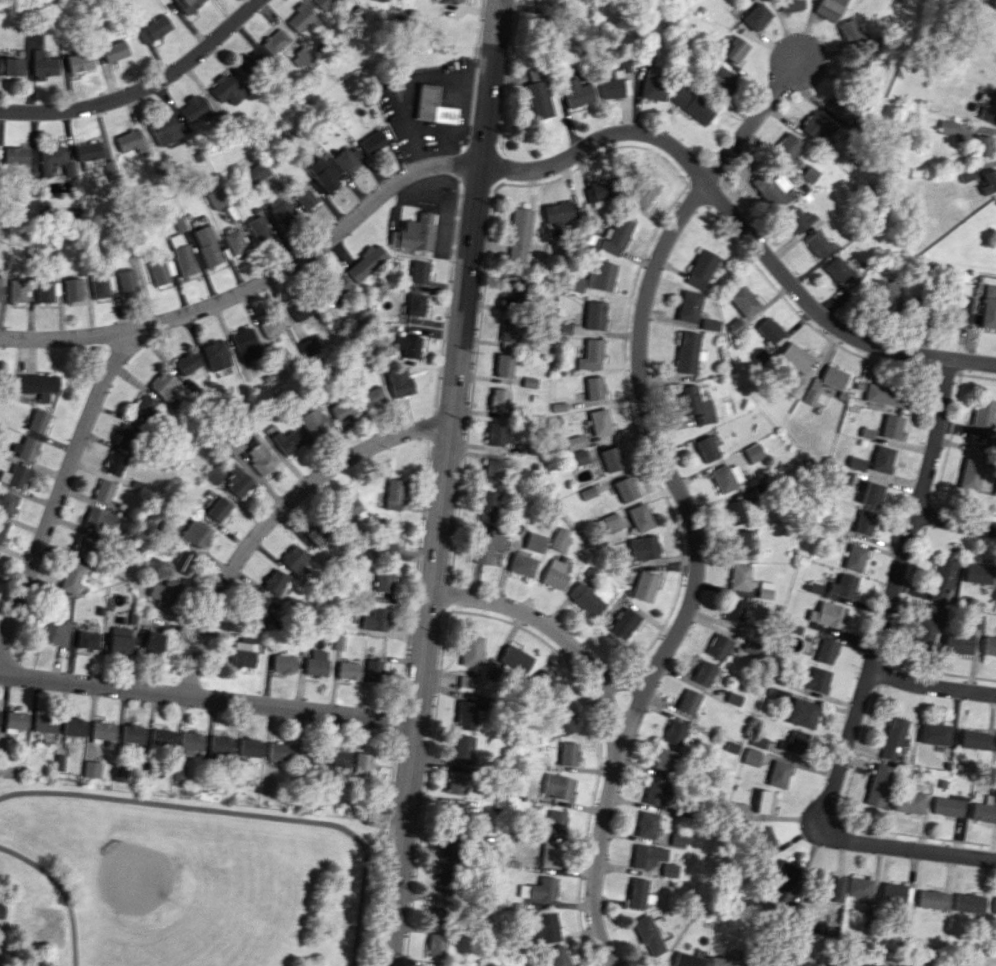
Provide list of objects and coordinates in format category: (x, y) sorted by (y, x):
building: (450, 0)
building: (322, 3)
building: (544, 3)
building: (187, 5)
building: (788, 5)
building: (827, 8)
building: (358, 13)
building: (754, 16)
building: (300, 18)
building: (153, 29)
building: (848, 31)
building: (274, 41)
building: (732, 48)
building: (114, 50)
building: (645, 56)
building: (304, 59)
building: (79, 62)
building: (248, 63)
building: (44, 64)
building: (10, 66)
building: (864, 68)
building: (721, 81)
road: (409, 83)
building: (612, 84)
building: (652, 86)
road: (142, 88)
building: (227, 89)
building: (576, 93)
building: (537, 94)
building: (691, 105)
building: (431, 106)
building: (836, 107)
building: (194, 108)
building: (987, 108)
building: (816, 126)
building: (946, 127)
building: (164, 130)
building: (130, 141)
building: (371, 142)
building: (787, 146)
building: (981, 147)
building: (88, 151)
building: (15, 155)
building: (50, 158)
building: (346, 159)
building: (68, 168)
road: (522, 169)
building: (256, 172)
building: (965, 173)
building: (321, 174)
building: (808, 174)
building: (28, 176)
building: (988, 181)
building: (600, 189)
building: (643, 191)
building: (775, 192)
building: (216, 197)
building: (304, 197)
building: (280, 211)
building: (557, 212)
building: (795, 219)
building: (520, 221)
building: (258, 228)
building: (414, 233)
building: (616, 236)
building: (235, 241)
building: (816, 244)
building: (207, 245)
building: (517, 248)
building: (181, 254)
building: (365, 263)
building: (701, 268)
building: (161, 271)
building: (419, 272)
building: (838, 272)
building: (595, 278)
building: (126, 281)
building: (0, 282)
building: (101, 286)
building: (336, 286)
building: (71, 289)
building: (16, 291)
building: (45, 291)
building: (512, 293)
building: (881, 294)
building: (743, 300)
building: (415, 304)
building: (689, 306)
building: (913, 307)
building: (988, 307)
building: (961, 308)
building: (302, 310)
building: (594, 315)
building: (710, 324)
building: (271, 326)
building: (563, 326)
building: (735, 326)
building: (769, 329)
building: (508, 330)
building: (246, 344)
building: (688, 352)
building: (216, 355)
building: (591, 355)
building: (794, 357)
building: (186, 362)
building: (503, 365)
road: (640, 381)
building: (398, 382)
building: (529, 382)
building: (35, 385)
building: (162, 386)
building: (835, 386)
building: (595, 388)
building: (883, 395)
building: (371, 397)
building: (498, 400)
building: (694, 404)
building: (143, 407)
building: (341, 407)
building: (983, 413)
building: (311, 420)
building: (38, 421)
building: (600, 421)
building: (890, 426)
building: (865, 432)
building: (495, 433)
building: (126, 435)
building: (285, 441)
building: (574, 442)
building: (233, 445)
building: (25, 448)
building: (706, 448)
building: (752, 452)
building: (257, 454)
building: (578, 457)
building: (612, 458)
building: (880, 458)
building: (115, 462)
building: (854, 462)
building: (971, 467)
building: (492, 470)
building: (214, 475)
building: (14, 476)
building: (725, 476)
building: (841, 476)
building: (236, 479)
road: (443, 482)
road: (61, 487)
building: (626, 489)
building: (105, 490)
building: (393, 494)
building: (869, 494)
building: (8, 503)
building: (487, 506)
building: (217, 508)
building: (347, 508)
building: (732, 512)
road: (272, 513)
building: (640, 517)
building: (100, 519)
building: (862, 522)
road: (955, 522)
building: (2, 530)
building: (196, 532)
building: (388, 532)
building: (316, 533)
building: (559, 539)
building: (534, 541)
building: (737, 542)
building: (84, 545)
building: (487, 545)
building: (643, 548)
building: (853, 557)
building: (293, 559)
building: (182, 561)
building: (522, 564)
building: (555, 573)
building: (976, 573)
building: (72, 577)
building: (738, 577)
building: (941, 578)
building: (383, 580)
building: (274, 581)
building: (841, 585)
building: (643, 586)
building: (813, 588)
building: (164, 593)
road: (892, 593)
building: (584, 599)
building: (257, 610)
building: (731, 610)
building: (826, 615)
building: (375, 620)
building: (975, 621)
building: (622, 623)
building: (927, 625)
building: (55, 631)
building: (88, 640)
building: (120, 640)
building: (152, 642)
building: (958, 642)
building: (989, 645)
building: (716, 646)
building: (747, 647)
building: (244, 650)
building: (470, 650)
building: (824, 651)
building: (516, 660)
building: (282, 663)
building: (315, 663)
building: (347, 670)
building: (372, 670)
building: (701, 672)
building: (812, 679)
building: (465, 681)
road: (625, 681)
building: (540, 682)
road: (933, 683)
road: (210, 698)
building: (731, 698)
building: (685, 701)
building: (801, 713)
building: (463, 714)
building: (15, 721)
building: (562, 722)
building: (44, 723)
road: (616, 725)
building: (75, 726)
building: (103, 732)
building: (673, 732)
building: (132, 733)
building: (935, 733)
building: (161, 737)
building: (894, 737)
building: (977, 739)
building: (190, 742)
building: (793, 742)
building: (219, 745)
building: (461, 746)
building: (249, 747)
building: (729, 747)
building: (279, 751)
building: (566, 753)
building: (749, 757)
building: (337, 758)
building: (661, 760)
building: (361, 764)
building: (92, 769)
building: (120, 773)
building: (178, 773)
building: (777, 774)
building: (455, 782)
building: (878, 785)
building: (555, 786)
building: (653, 793)
building: (764, 802)
building: (909, 802)
building: (949, 806)
building: (985, 809)
building: (454, 810)
building: (737, 810)
road: (245, 814)
building: (550, 823)
building: (644, 824)
building: (764, 839)
building: (675, 840)
road: (908, 845)
building: (447, 847)
road: (384, 854)
building: (548, 854)
building: (650, 859)
building: (445, 880)
building: (782, 880)
park: (180, 881)
building: (861, 887)
building: (541, 888)
building: (832, 888)
road: (61, 890)
building: (521, 890)
building: (636, 893)
building: (896, 893)
building: (935, 899)
building: (971, 903)
building: (995, 909)
building: (1, 911)
building: (438, 912)
building: (868, 917)
building: (540, 927)
building: (647, 935)
building: (435, 945)
building: (555, 956)
building: (724, 961)
building: (797, 963)
building: (427, 965)
building: (874, 965)

